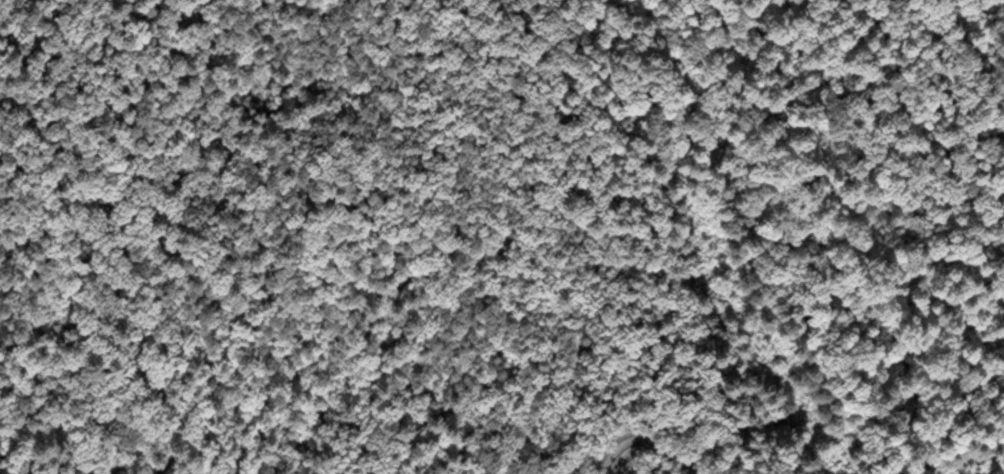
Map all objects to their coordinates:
road: (637, 436)

